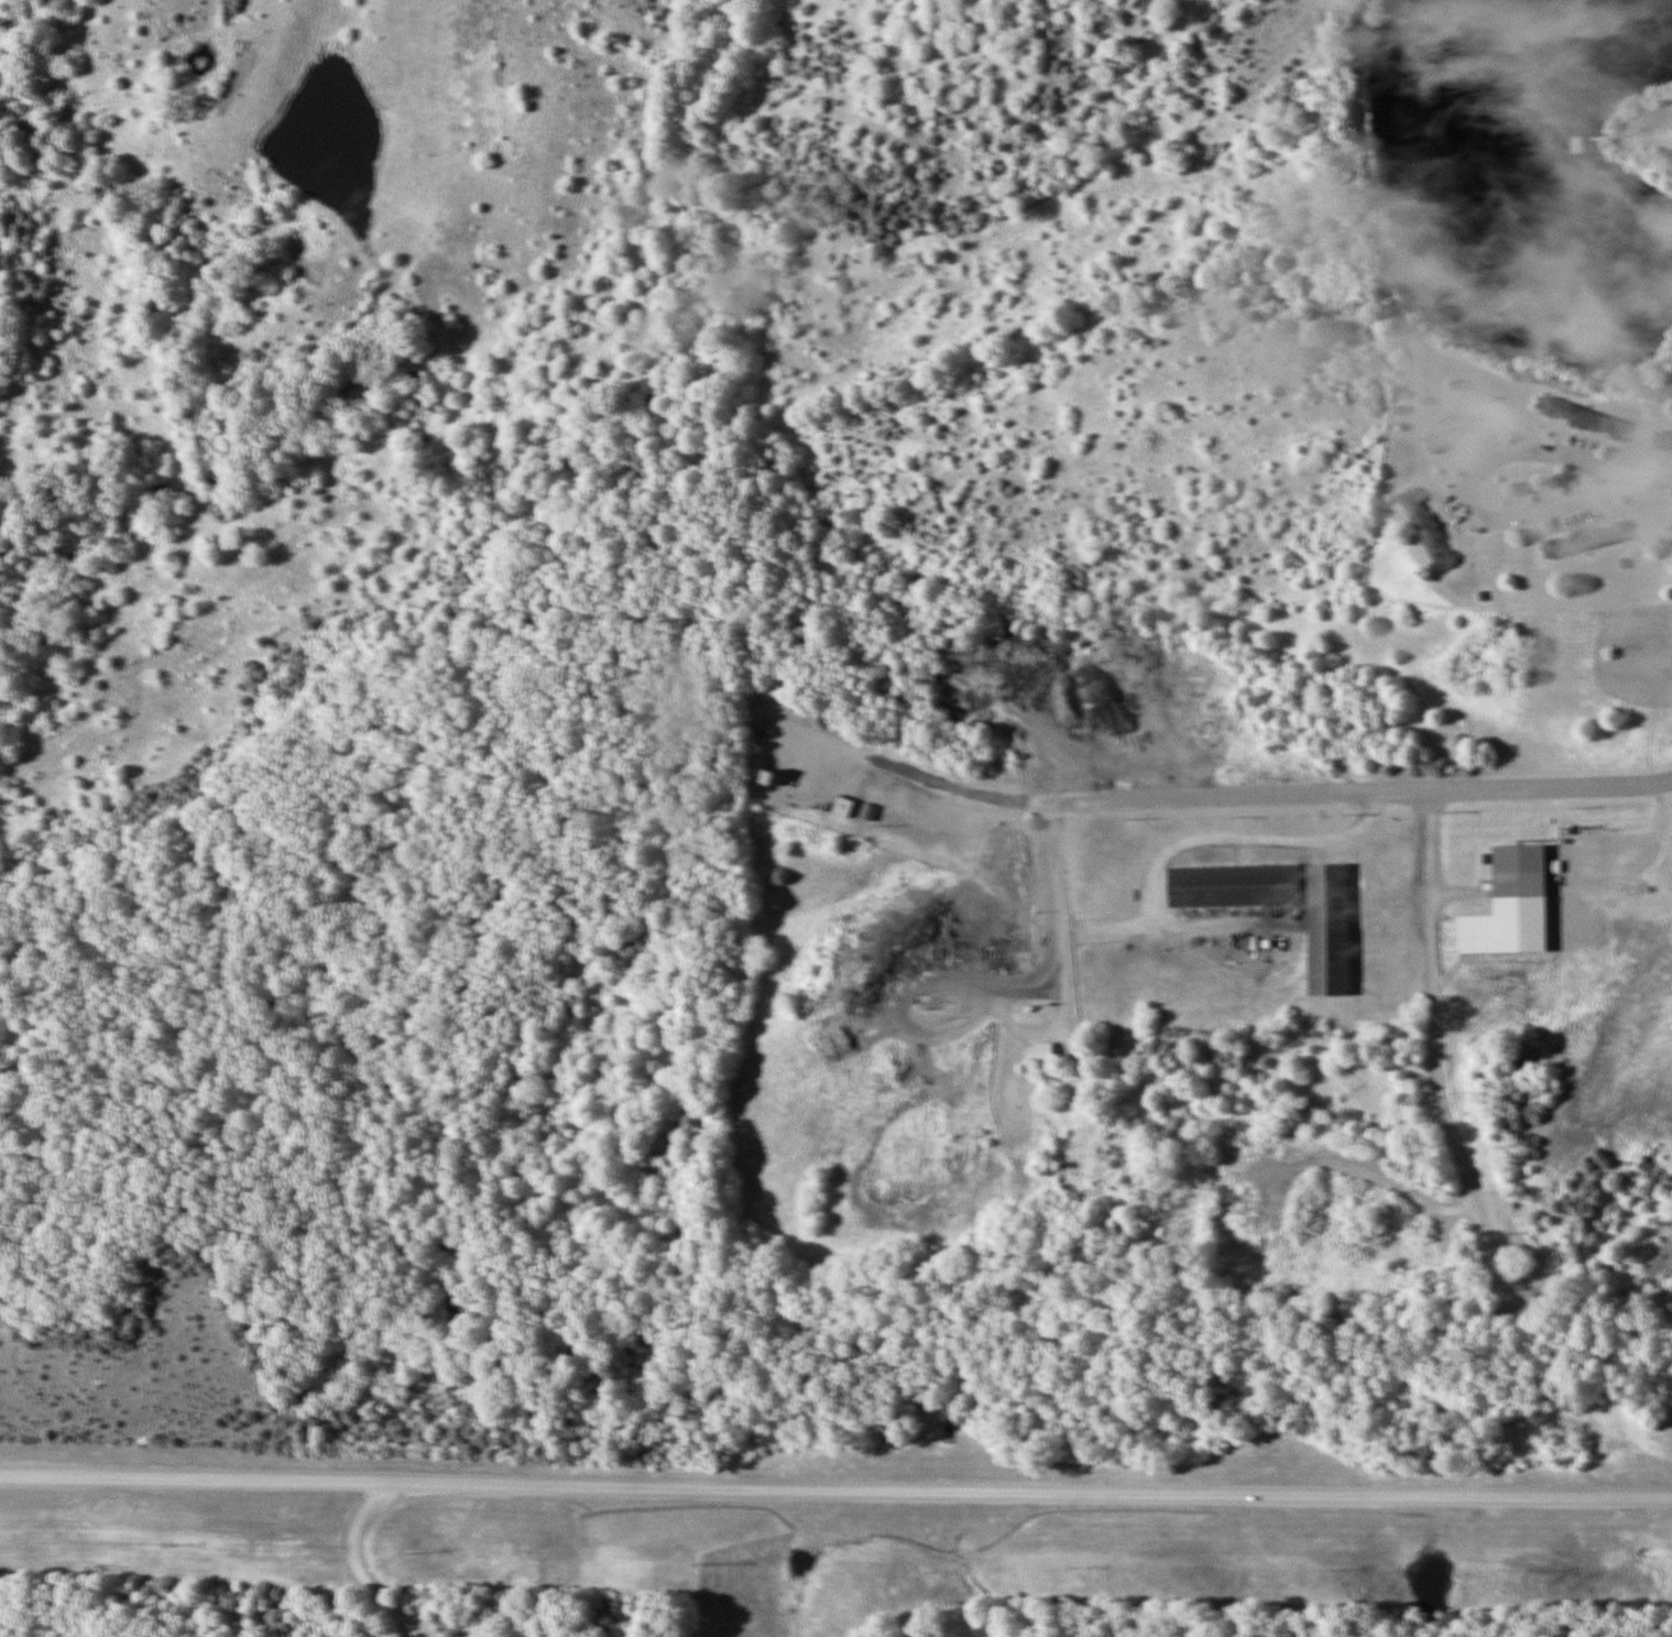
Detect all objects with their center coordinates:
pier: (1621, 134)
road: (1666, 135)
building: (1576, 145)
park: (1509, 215)
building: (1587, 411)
building: (1471, 415)
building: (1662, 434)
road: (1567, 457)
road: (1650, 477)
building: (1433, 522)
building: (1588, 531)
road: (1267, 794)
building: (842, 806)
building: (1520, 863)
building: (1658, 886)
road: (1059, 920)
building: (1327, 941)
road: (913, 978)
road: (1436, 1047)
building: (1040, 1051)
road: (835, 1489)

